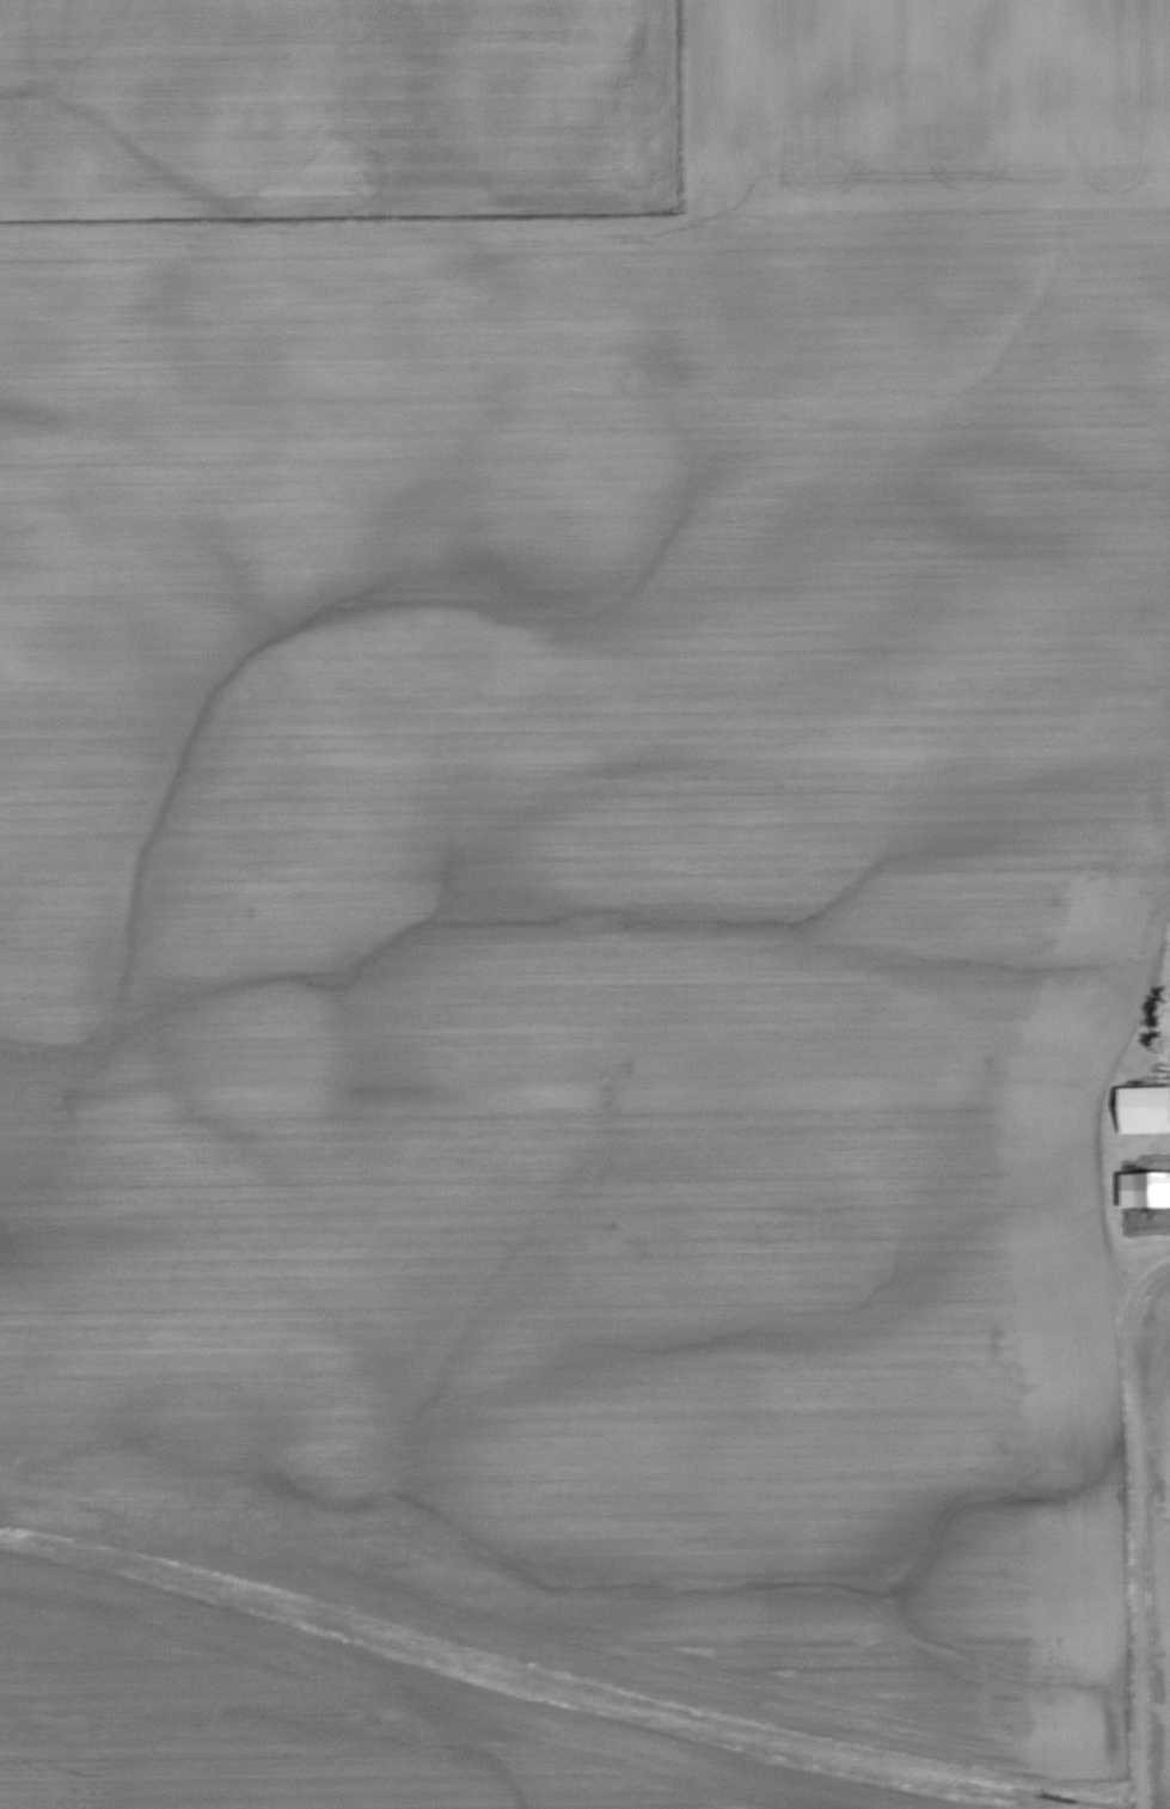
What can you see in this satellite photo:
road: (1158, 970)
road: (1156, 989)
road: (1135, 1022)
building: (1138, 1107)
building: (1141, 1188)
road: (1128, 1521)

